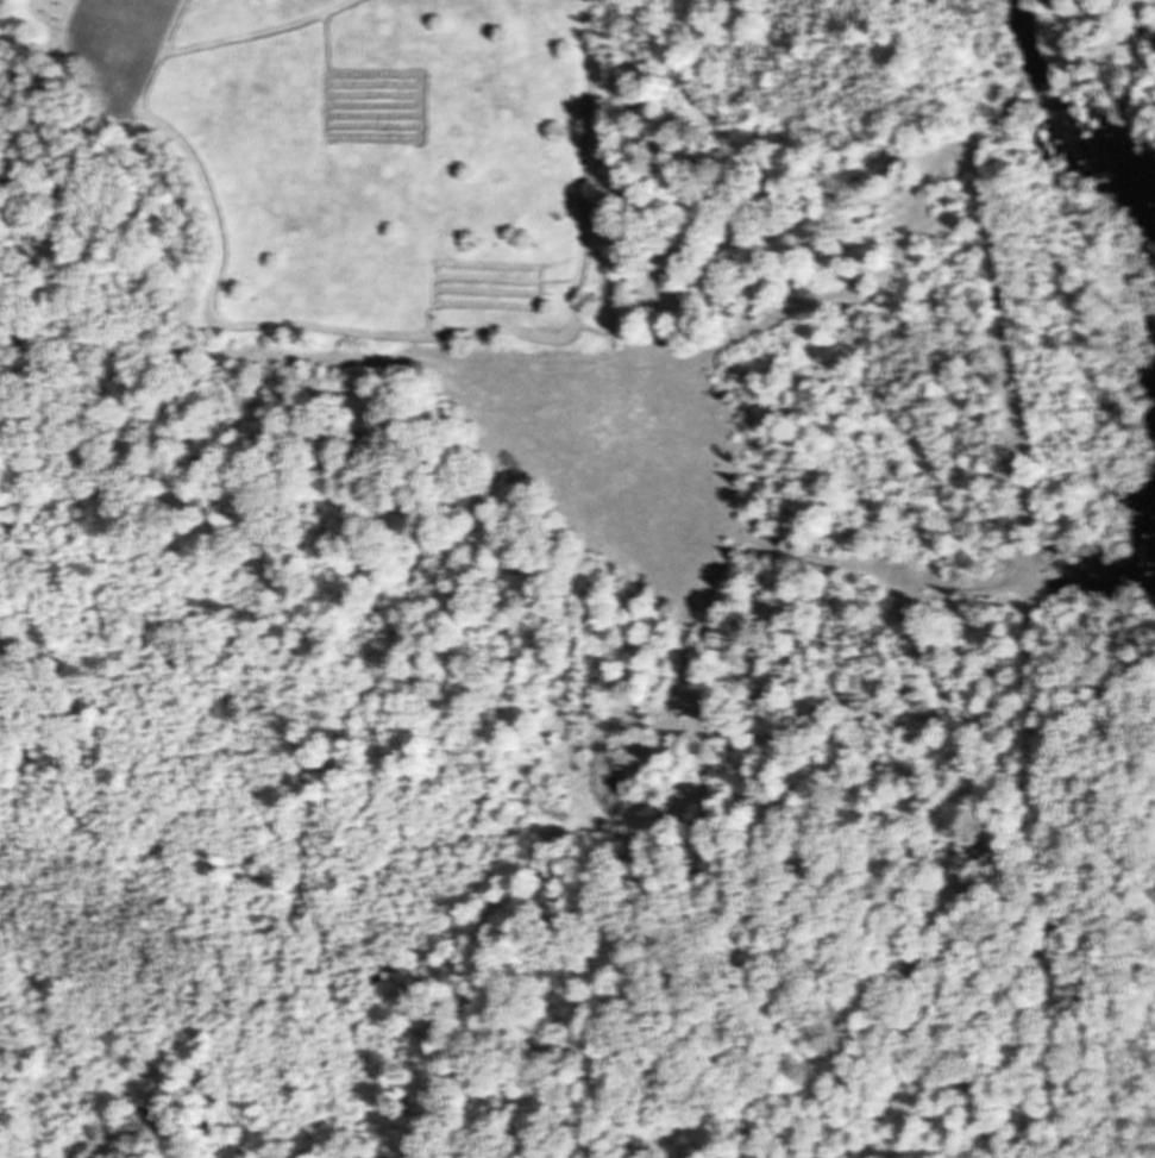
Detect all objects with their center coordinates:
building: (1151, 39)
river: (1080, 115)

